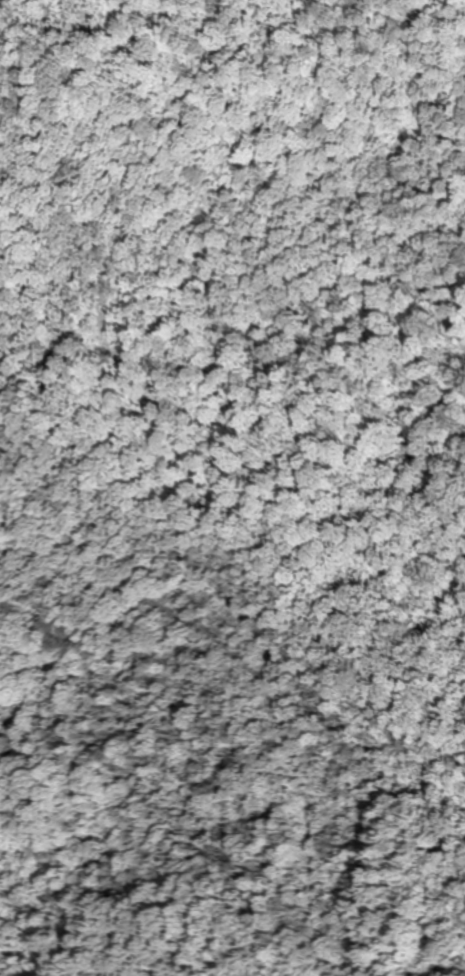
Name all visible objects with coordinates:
road: (207, 715)

